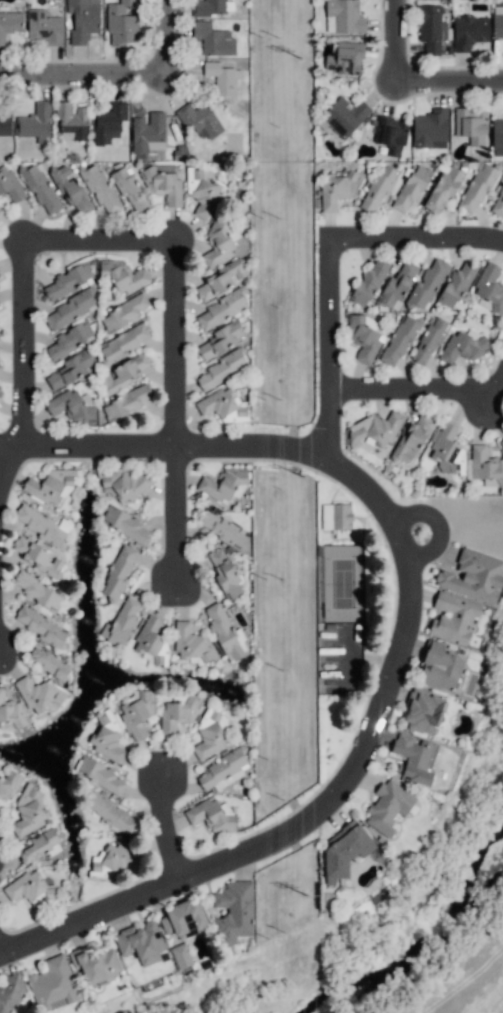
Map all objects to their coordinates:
building: (209, 8)
building: (344, 17)
building: (83, 19)
building: (10, 23)
building: (122, 24)
building: (497, 25)
building: (45, 27)
building: (431, 28)
building: (469, 32)
road: (171, 36)
building: (213, 39)
road: (399, 42)
building: (344, 58)
power tower: (300, 62)
road: (86, 74)
building: (222, 78)
road: (451, 83)
building: (345, 115)
building: (199, 120)
building: (71, 121)
building: (35, 123)
building: (108, 123)
building: (5, 124)
building: (472, 125)
building: (430, 129)
building: (148, 133)
building: (390, 135)
building: (497, 136)
building: (10, 184)
building: (163, 185)
building: (412, 187)
building: (477, 187)
building: (338, 188)
building: (443, 188)
building: (40, 189)
building: (71, 189)
building: (100, 189)
building: (377, 189)
building: (130, 190)
building: (202, 193)
building: (498, 203)
road: (101, 238)
road: (418, 240)
building: (218, 242)
building: (124, 275)
building: (0, 276)
building: (222, 279)
building: (68, 281)
building: (369, 282)
building: (397, 284)
building: (427, 285)
building: (456, 285)
building: (489, 288)
building: (220, 309)
building: (69, 310)
building: (123, 313)
building: (363, 338)
building: (70, 339)
building: (221, 339)
building: (399, 341)
building: (429, 341)
building: (123, 343)
building: (463, 346)
road: (334, 351)
building: (0, 365)
building: (222, 368)
building: (70, 369)
building: (123, 373)
road: (419, 390)
building: (0, 395)
building: (125, 403)
building: (221, 403)
building: (71, 407)
building: (376, 429)
building: (412, 439)
building: (502, 440)
road: (259, 443)
road: (100, 444)
road: (10, 445)
building: (449, 452)
building: (485, 465)
road: (8, 473)
building: (223, 482)
power tower: (300, 482)
building: (125, 483)
building: (50, 486)
road: (179, 512)
building: (336, 516)
building: (124, 523)
building: (42, 526)
building: (220, 528)
building: (39, 557)
building: (119, 571)
building: (224, 573)
building: (473, 576)
building: (38, 591)
building: (453, 617)
building: (122, 622)
building: (40, 626)
building: (223, 632)
building: (150, 638)
building: (241, 640)
building: (192, 645)
building: (48, 662)
building: (439, 668)
building: (39, 693)
road: (387, 702)
building: (423, 710)
building: (10, 711)
building: (137, 712)
building: (177, 715)
building: (210, 734)
building: (108, 737)
building: (414, 757)
building: (224, 769)
building: (101, 775)
building: (8, 784)
building: (388, 807)
building: (28, 812)
building: (110, 812)
building: (210, 814)
road: (173, 825)
building: (39, 847)
building: (345, 849)
building: (113, 862)
building: (29, 888)
power tower: (305, 898)
building: (234, 912)
road: (95, 916)
building: (184, 918)
building: (141, 942)
road: (3, 945)
building: (181, 955)
building: (95, 964)
building: (53, 984)
building: (12, 994)

